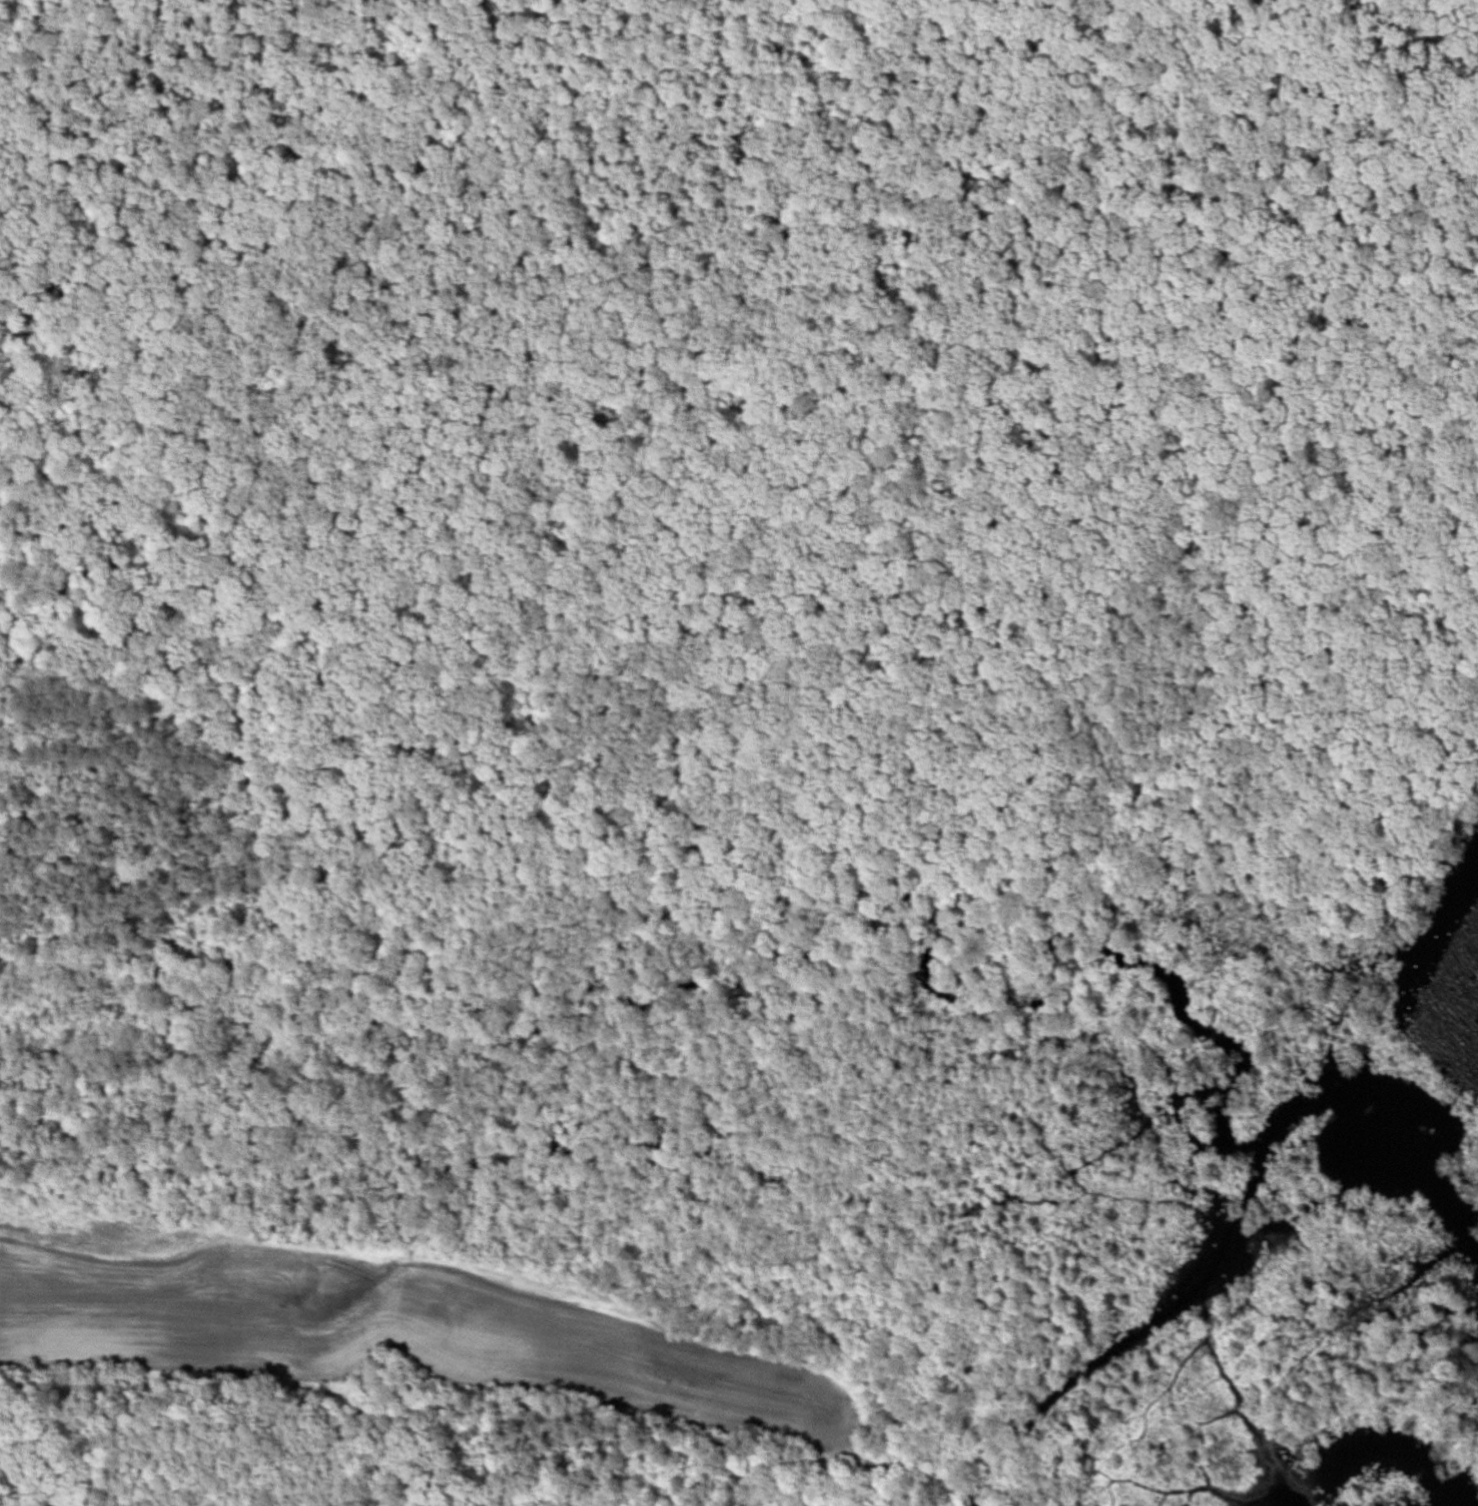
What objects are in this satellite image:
road: (481, 1415)
river: (1386, 1459)

